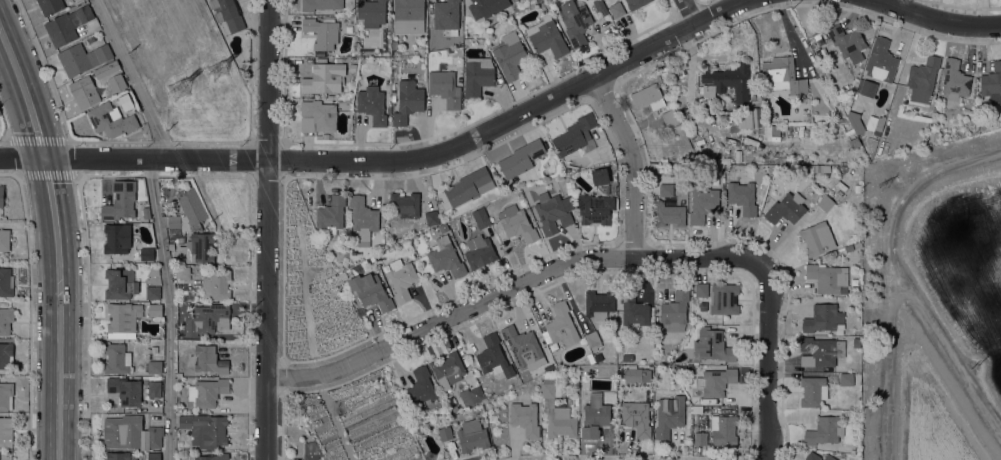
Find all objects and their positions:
building: (636, 3)
building: (321, 4)
building: (50, 6)
building: (486, 7)
building: (617, 9)
building: (603, 10)
road: (689, 11)
building: (372, 12)
building: (228, 13)
building: (447, 15)
building: (409, 16)
road: (939, 17)
building: (575, 21)
building: (67, 25)
building: (322, 32)
building: (547, 36)
building: (817, 36)
building: (91, 39)
building: (847, 41)
road: (10, 52)
building: (509, 54)
building: (83, 58)
building: (880, 59)
building: (352, 67)
building: (106, 69)
power tower: (219, 72)
building: (477, 75)
building: (782, 75)
building: (324, 78)
building: (922, 78)
road: (133, 79)
building: (955, 79)
building: (729, 80)
building: (116, 82)
building: (104, 83)
building: (992, 83)
building: (445, 87)
building: (865, 87)
power tower: (183, 89)
building: (820, 89)
building: (84, 92)
building: (408, 101)
building: (655, 103)
building: (372, 104)
building: (317, 116)
road: (33, 117)
building: (756, 117)
building: (771, 118)
building: (110, 120)
building: (836, 120)
building: (855, 120)
building: (871, 123)
road: (5, 125)
building: (767, 131)
building: (574, 134)
building: (323, 136)
building: (934, 138)
building: (521, 158)
building: (687, 158)
road: (391, 160)
road: (634, 162)
building: (599, 176)
power tower: (885, 183)
building: (469, 186)
building: (857, 188)
building: (666, 189)
building: (742, 194)
building: (1, 195)
road: (52, 199)
building: (120, 200)
building: (702, 202)
building: (825, 202)
building: (405, 204)
building: (596, 206)
building: (786, 208)
building: (188, 211)
building: (553, 211)
building: (146, 212)
building: (331, 214)
building: (669, 214)
building: (431, 217)
building: (480, 218)
building: (363, 219)
building: (517, 223)
building: (443, 227)
road: (266, 229)
building: (856, 235)
building: (117, 238)
building: (817, 238)
building: (4, 239)
building: (181, 239)
building: (857, 245)
building: (171, 247)
building: (196, 247)
building: (480, 251)
building: (146, 253)
building: (445, 257)
building: (153, 271)
building: (182, 272)
building: (827, 277)
building: (401, 278)
building: (6, 282)
building: (120, 283)
building: (216, 284)
road: (511, 287)
building: (701, 289)
building: (371, 291)
building: (153, 292)
building: (188, 294)
building: (723, 298)
building: (599, 304)
road: (170, 308)
building: (633, 308)
building: (155, 309)
building: (674, 311)
building: (207, 318)
building: (824, 318)
building: (122, 319)
building: (6, 320)
building: (561, 325)
building: (593, 340)
building: (711, 345)
building: (523, 346)
building: (154, 348)
road: (60, 350)
building: (820, 351)
building: (5, 354)
building: (493, 356)
building: (627, 357)
building: (117, 358)
building: (590, 358)
building: (209, 359)
building: (155, 366)
road: (769, 366)
power tower: (977, 368)
building: (447, 369)
building: (636, 374)
building: (846, 379)
building: (716, 381)
building: (677, 385)
building: (154, 388)
building: (420, 388)
building: (127, 390)
building: (813, 390)
building: (207, 391)
building: (6, 395)
building: (471, 395)
building: (453, 408)
building: (556, 410)
building: (594, 415)
building: (669, 415)
building: (696, 415)
building: (636, 417)
road: (334, 418)
building: (525, 418)
building: (205, 429)
building: (723, 429)
building: (824, 430)
building: (6, 431)
building: (130, 432)
building: (445, 433)
building: (472, 434)
building: (700, 438)
building: (309, 450)
building: (154, 455)
building: (118, 456)
building: (213, 456)
building: (812, 456)
building: (829, 457)

